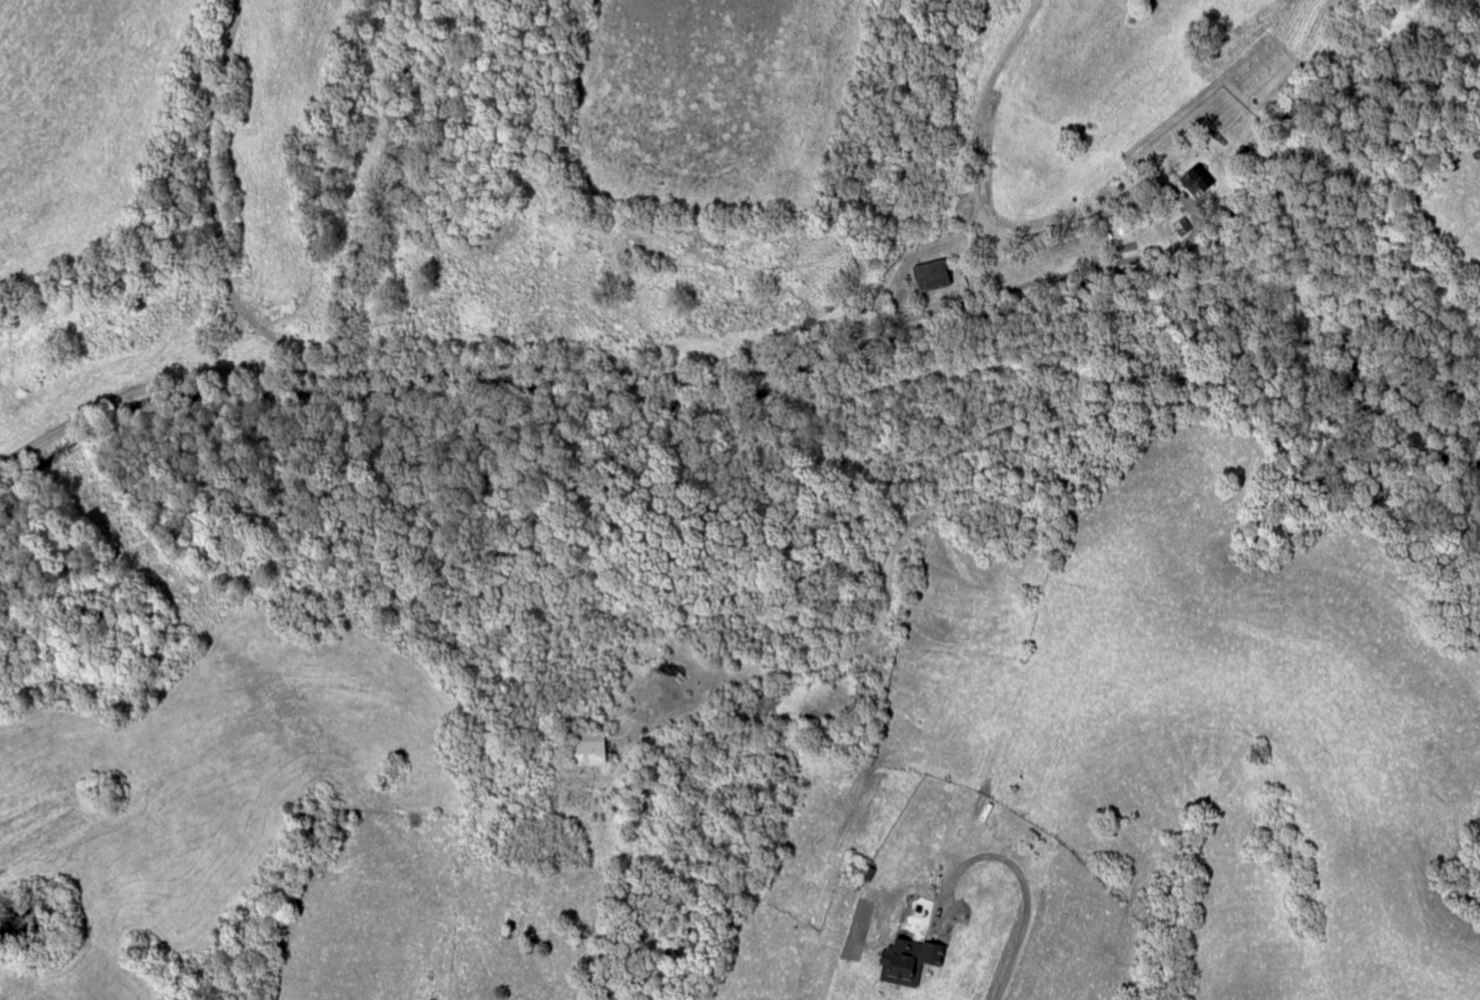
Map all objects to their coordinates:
building: (1200, 182)
building: (936, 276)
road: (597, 366)
road: (1016, 877)
building: (912, 962)

